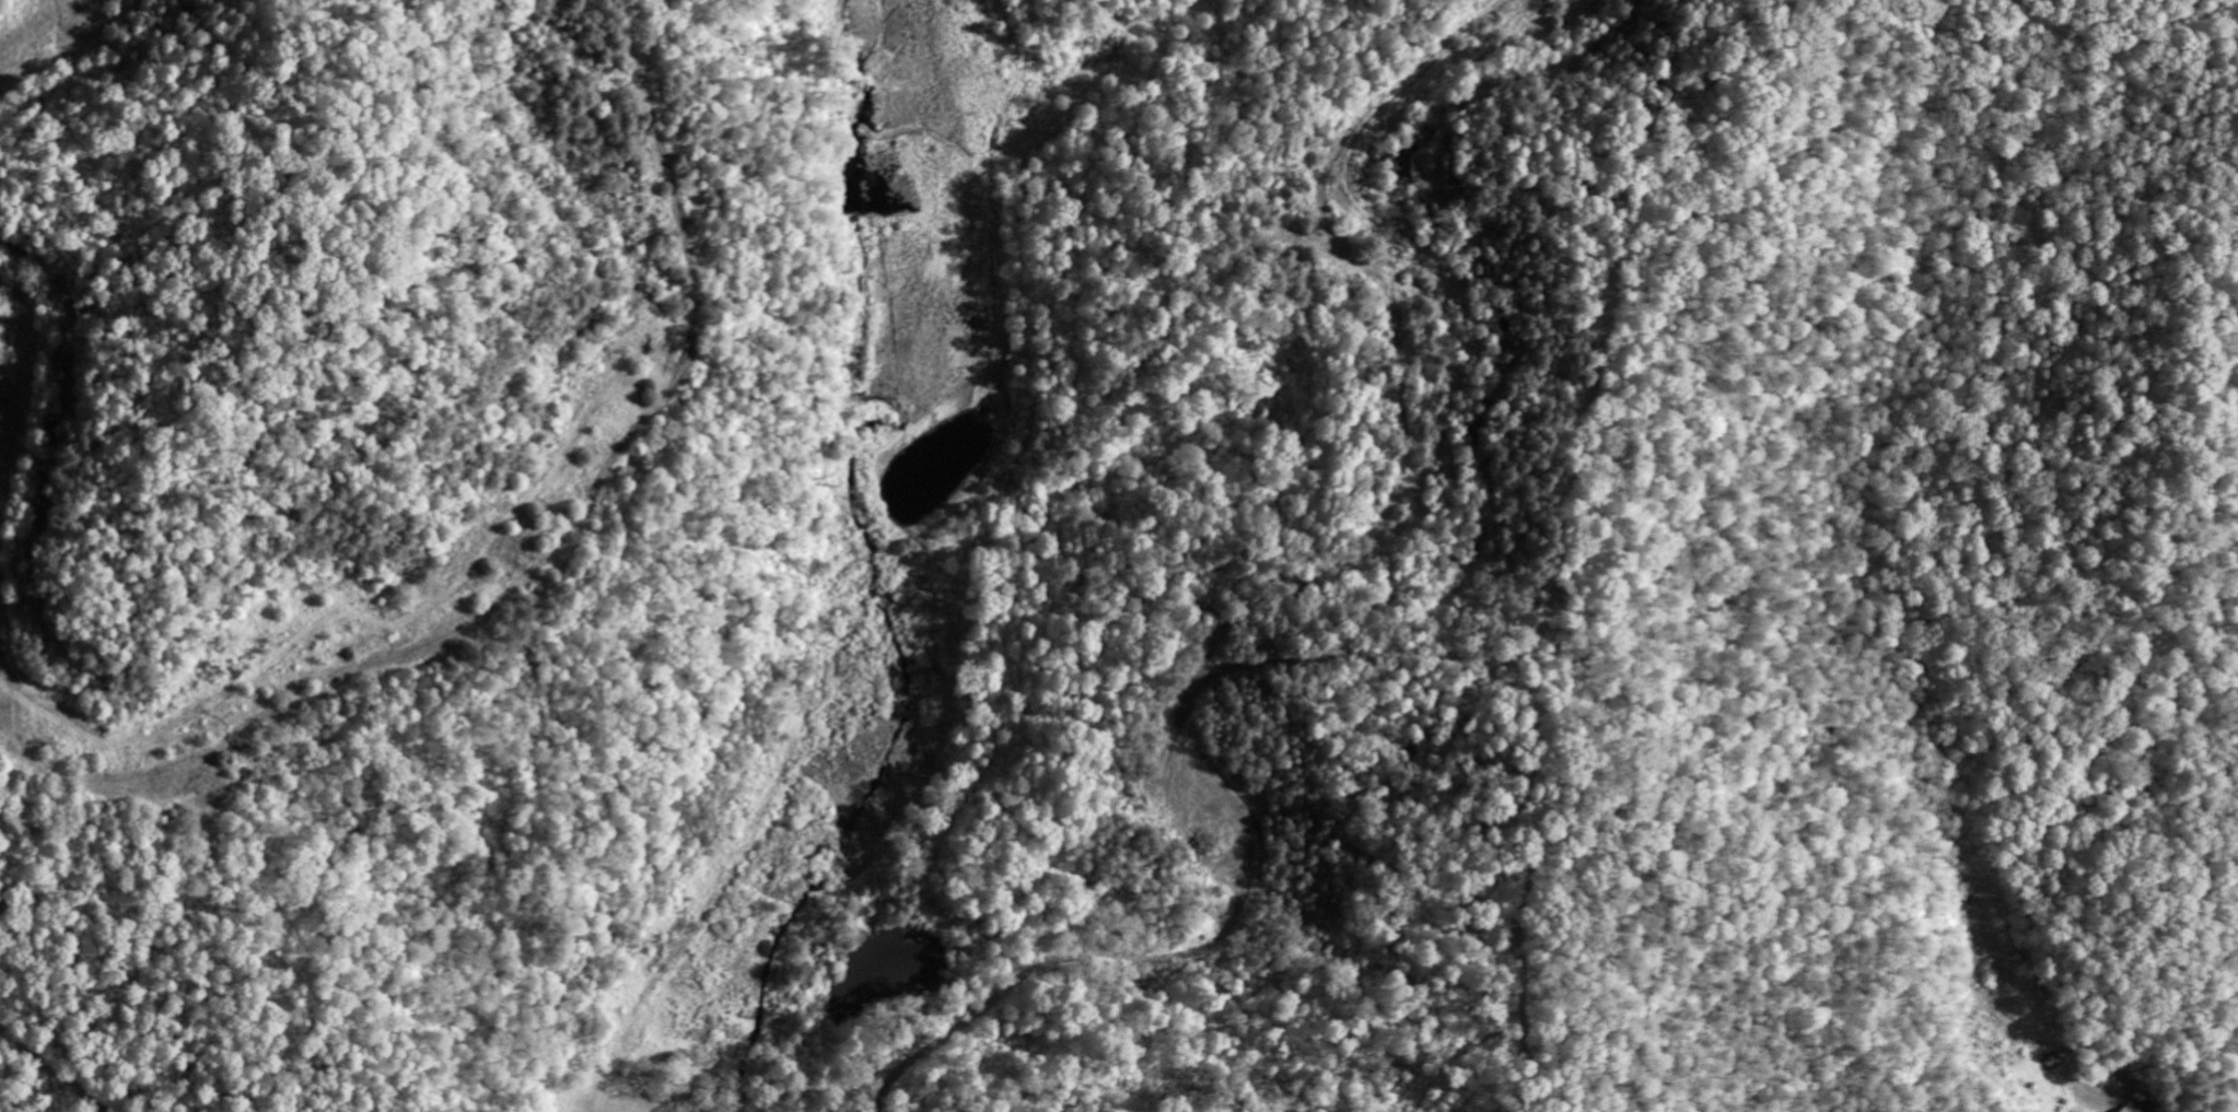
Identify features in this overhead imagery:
road: (53, 1073)
building: (2131, 1109)

